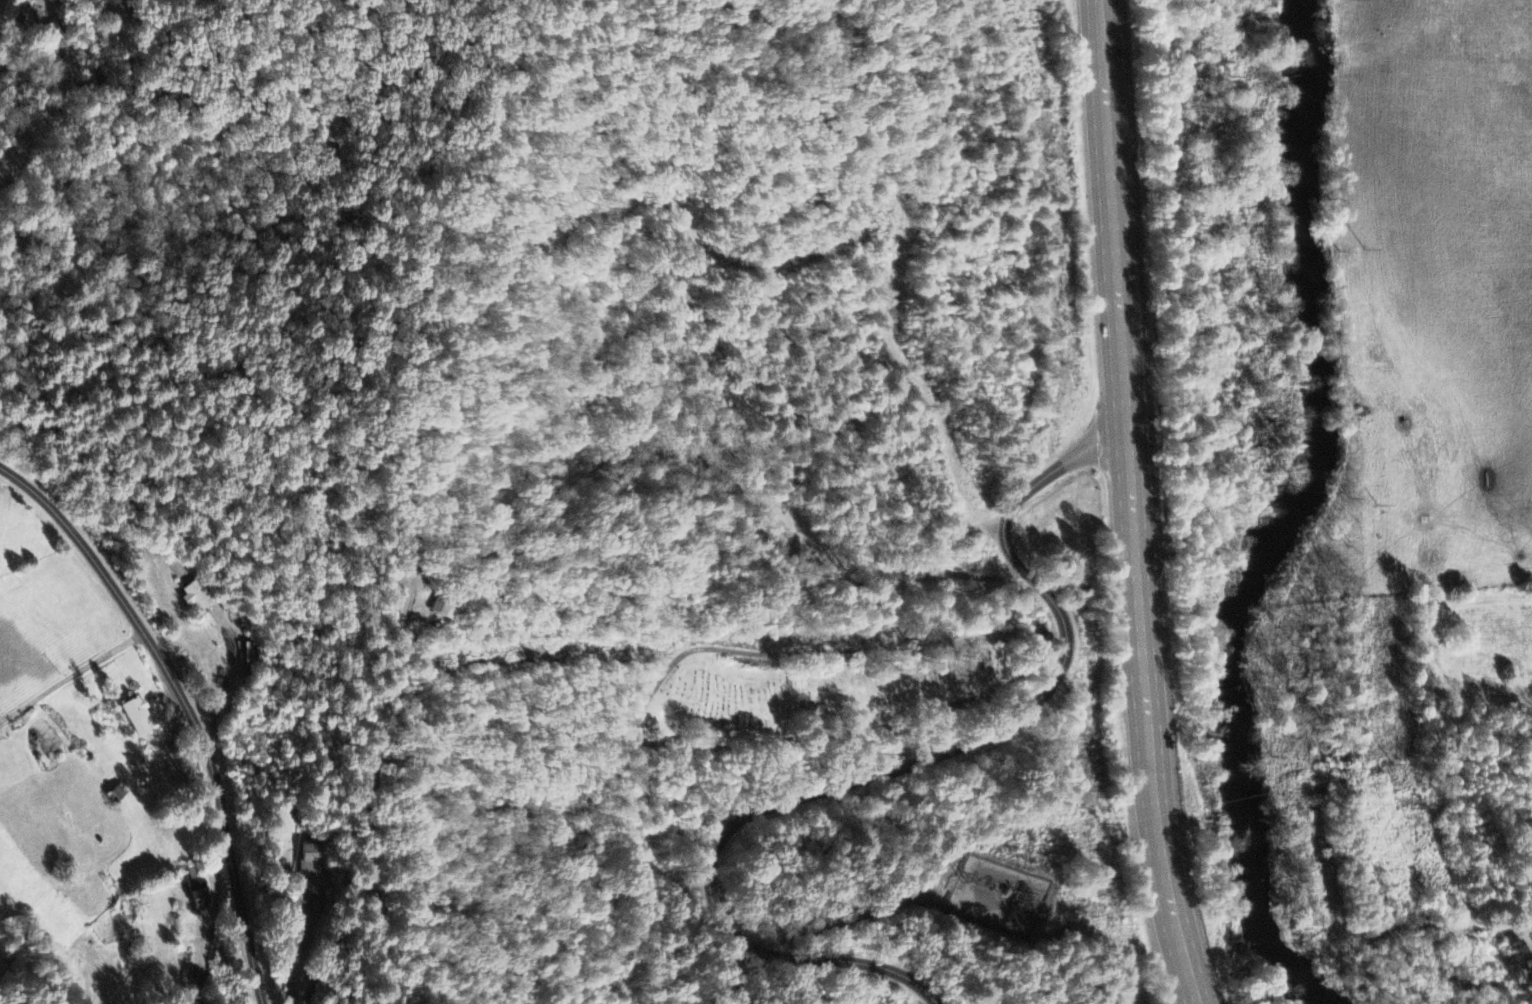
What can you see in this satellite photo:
road: (16, 31)
road: (1133, 504)
river: (1285, 516)
building: (197, 598)
building: (439, 611)
road: (72, 676)
park: (823, 690)
road: (187, 706)
building: (132, 716)
road: (897, 766)
road: (370, 827)
building: (309, 876)
building: (200, 895)
building: (0, 966)

